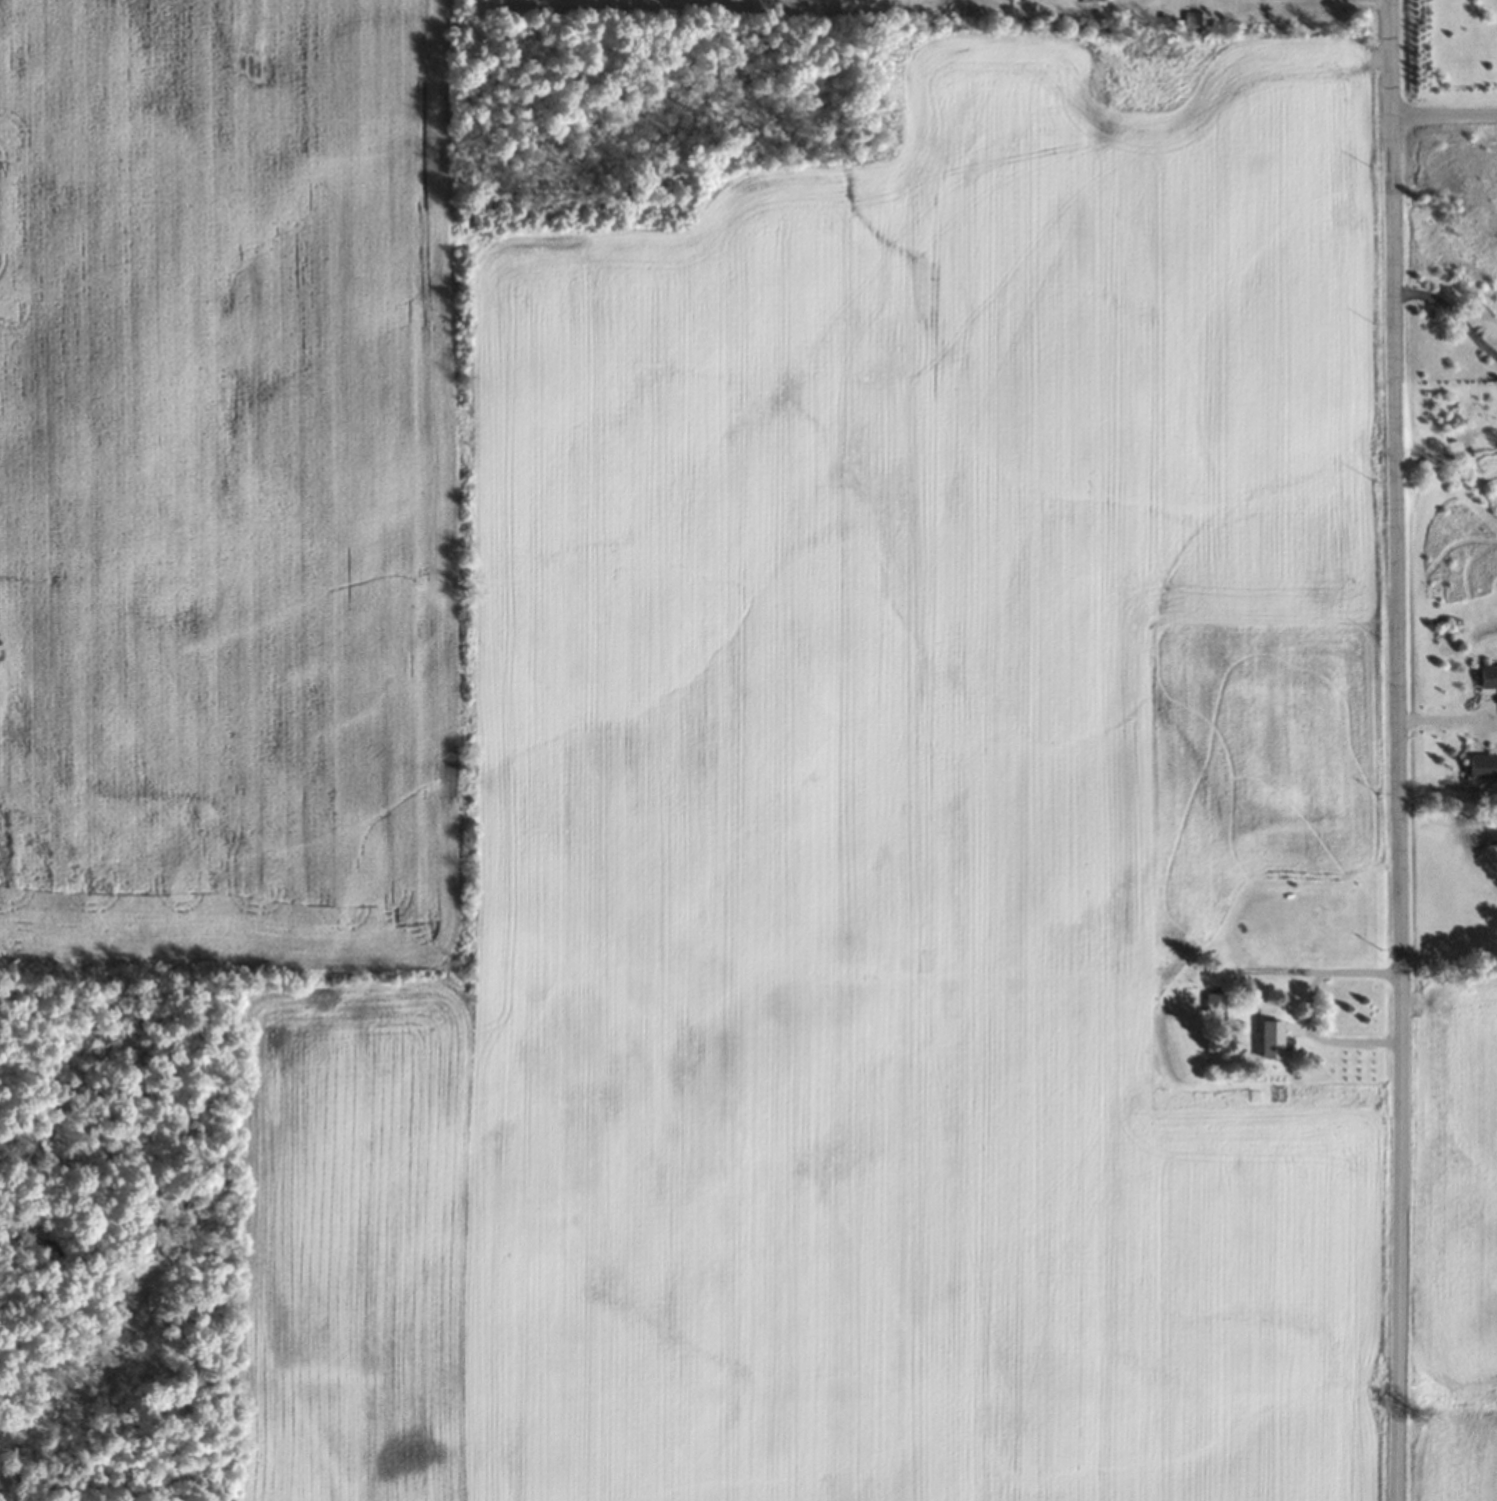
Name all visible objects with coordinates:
road: (1444, 112)
road: (1449, 314)
building: (1489, 677)
road: (1399, 750)
building: (1483, 766)
building: (1286, 930)
building: (1214, 1007)
building: (1268, 1039)

